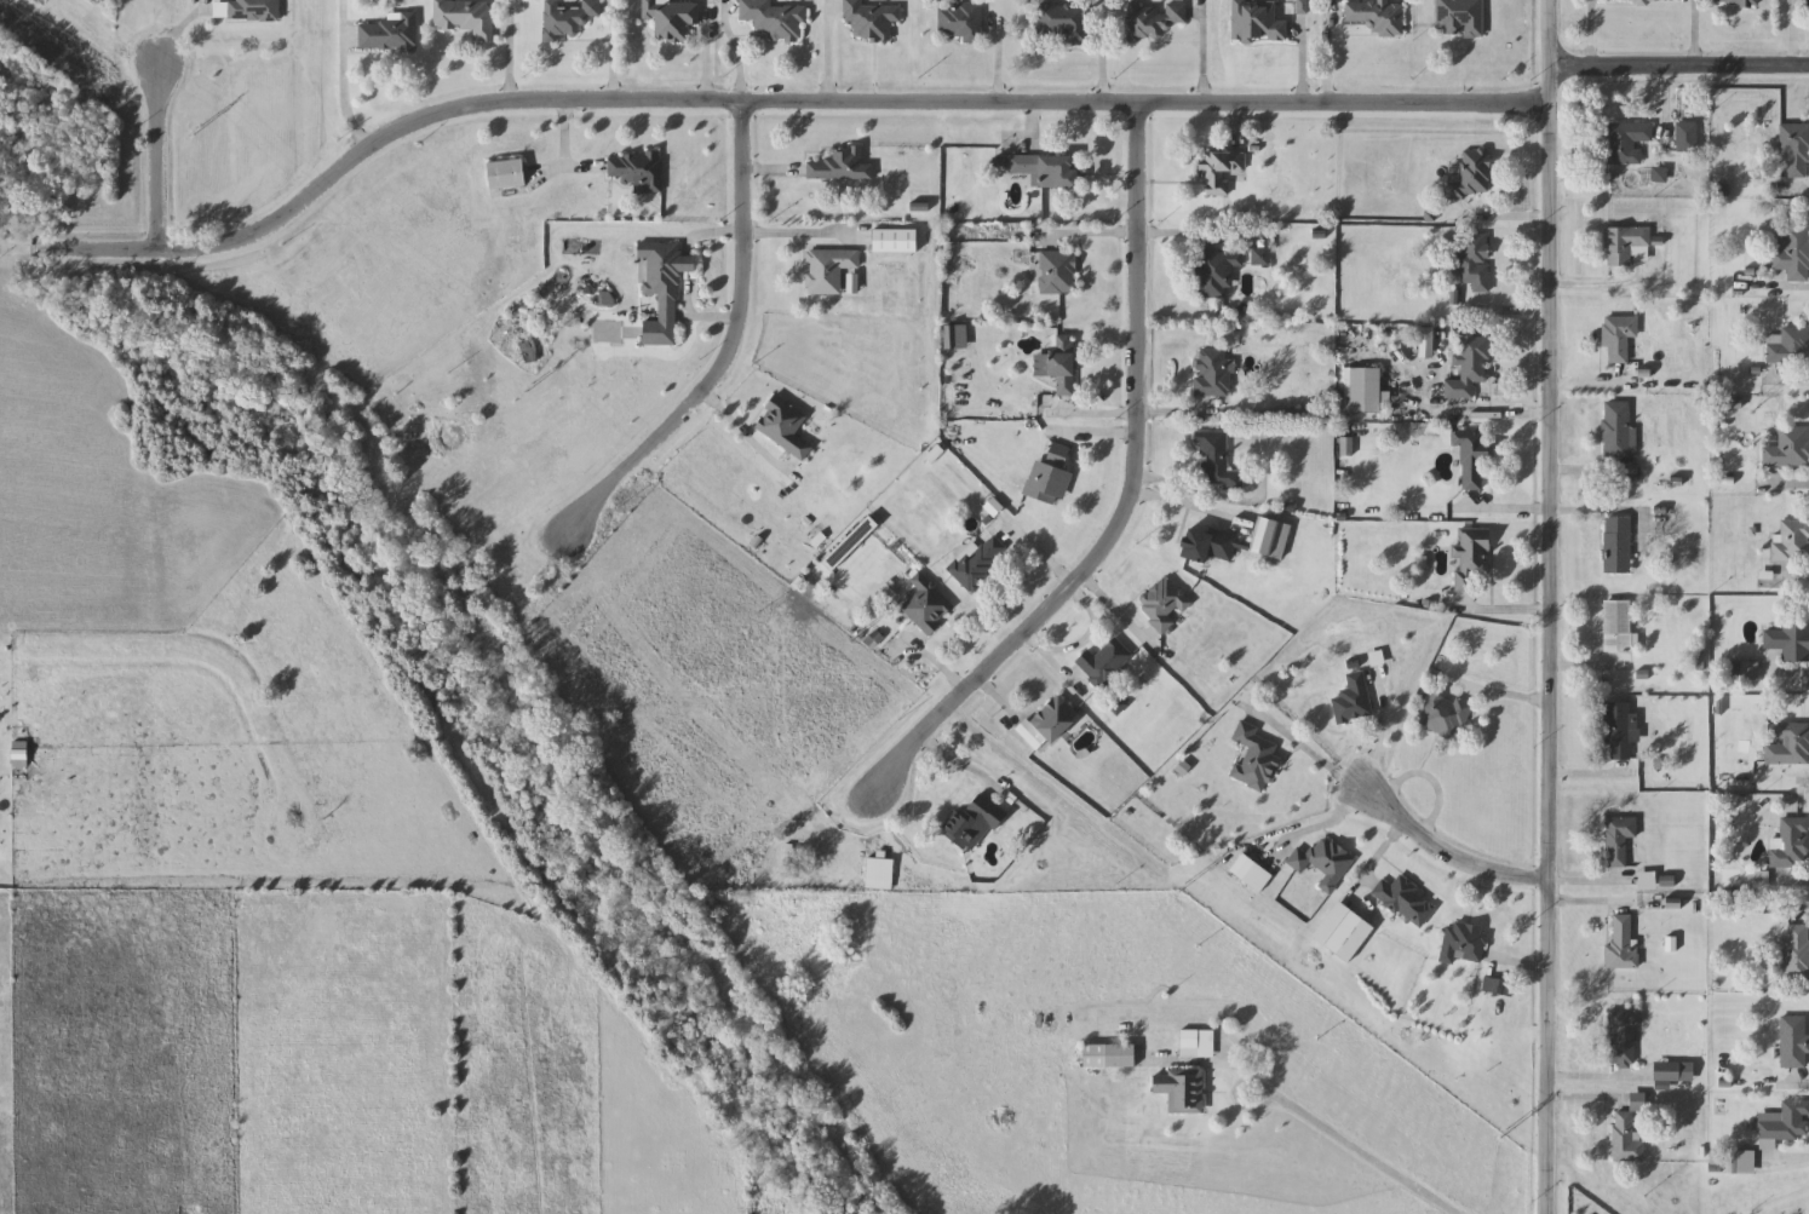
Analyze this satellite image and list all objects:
building: (1632, 1)
building: (1735, 4)
building: (1808, 4)
building: (254, 11)
building: (1378, 16)
building: (466, 17)
building: (672, 17)
building: (568, 18)
building: (1156, 18)
building: (1460, 18)
building: (775, 19)
building: (871, 19)
building: (961, 21)
building: (1062, 22)
building: (1257, 22)
building: (389, 33)
road: (1793, 34)
road: (1591, 35)
road: (1695, 35)
road: (614, 54)
road: (1202, 54)
road: (1327, 54)
road: (1000, 64)
road: (1103, 64)
road: (1303, 65)
road: (1675, 70)
road: (341, 79)
road: (750, 107)
road: (1667, 111)
power tower: (199, 131)
road: (565, 137)
building: (1688, 138)
building: (1626, 142)
building: (1796, 148)
road: (156, 156)
building: (842, 165)
road: (565, 169)
building: (638, 169)
building: (1047, 169)
building: (1221, 171)
building: (506, 174)
building: (1470, 176)
road: (1804, 197)
road: (1493, 219)
road: (1150, 236)
building: (894, 240)
building: (1626, 246)
road: (687, 252)
building: (1793, 253)
building: (1474, 261)
building: (828, 269)
building: (1217, 270)
building: (1058, 272)
building: (664, 288)
road: (1597, 288)
road: (1793, 290)
road: (1509, 313)
road: (713, 317)
building: (1619, 338)
building: (1787, 345)
building: (529, 347)
road: (731, 352)
building: (1062, 363)
building: (1470, 367)
building: (1214, 372)
road: (1791, 385)
power tower: (529, 386)
building: (1366, 390)
road: (1589, 391)
road: (1141, 414)
road: (1499, 416)
building: (785, 426)
road: (740, 428)
building: (1618, 430)
building: (1787, 447)
building: (1217, 460)
building: (1474, 460)
road: (1585, 471)
building: (1051, 476)
road: (1782, 487)
road: (1126, 506)
road: (1552, 514)
building: (1230, 542)
building: (1792, 542)
building: (851, 543)
building: (1618, 546)
building: (1471, 558)
building: (977, 562)
road: (1792, 579)
building: (1162, 604)
building: (926, 606)
road: (1541, 606)
road: (1501, 614)
building: (1619, 628)
power tower: (855, 635)
building: (1790, 641)
road: (1079, 645)
road: (212, 654)
building: (1105, 663)
road: (1580, 671)
road: (1787, 675)
road: (1063, 678)
road: (1492, 696)
building: (1353, 700)
building: (1445, 715)
building: (1049, 725)
building: (1619, 730)
building: (1790, 744)
building: (1254, 759)
road: (1585, 778)
road: (1790, 784)
building: (977, 821)
building: (1620, 840)
building: (1790, 844)
road: (1446, 852)
building: (1323, 862)
building: (1242, 867)
building: (879, 874)
road: (1793, 884)
road: (1593, 885)
power tower: (1181, 886)
building: (1406, 901)
road: (1585, 904)
road: (1802, 913)
building: (1344, 932)
building: (1464, 943)
building: (1621, 944)
building: (1797, 951)
building: (1498, 986)
building: (1624, 1037)
building: (1793, 1041)
building: (1189, 1043)
building: (1110, 1055)
road: (1589, 1080)
building: (1181, 1089)
road: (1791, 1091)
road: (1590, 1100)
building: (1785, 1122)
road: (1331, 1133)
power tower: (1504, 1133)
building: (1626, 1139)
road: (1784, 1158)

